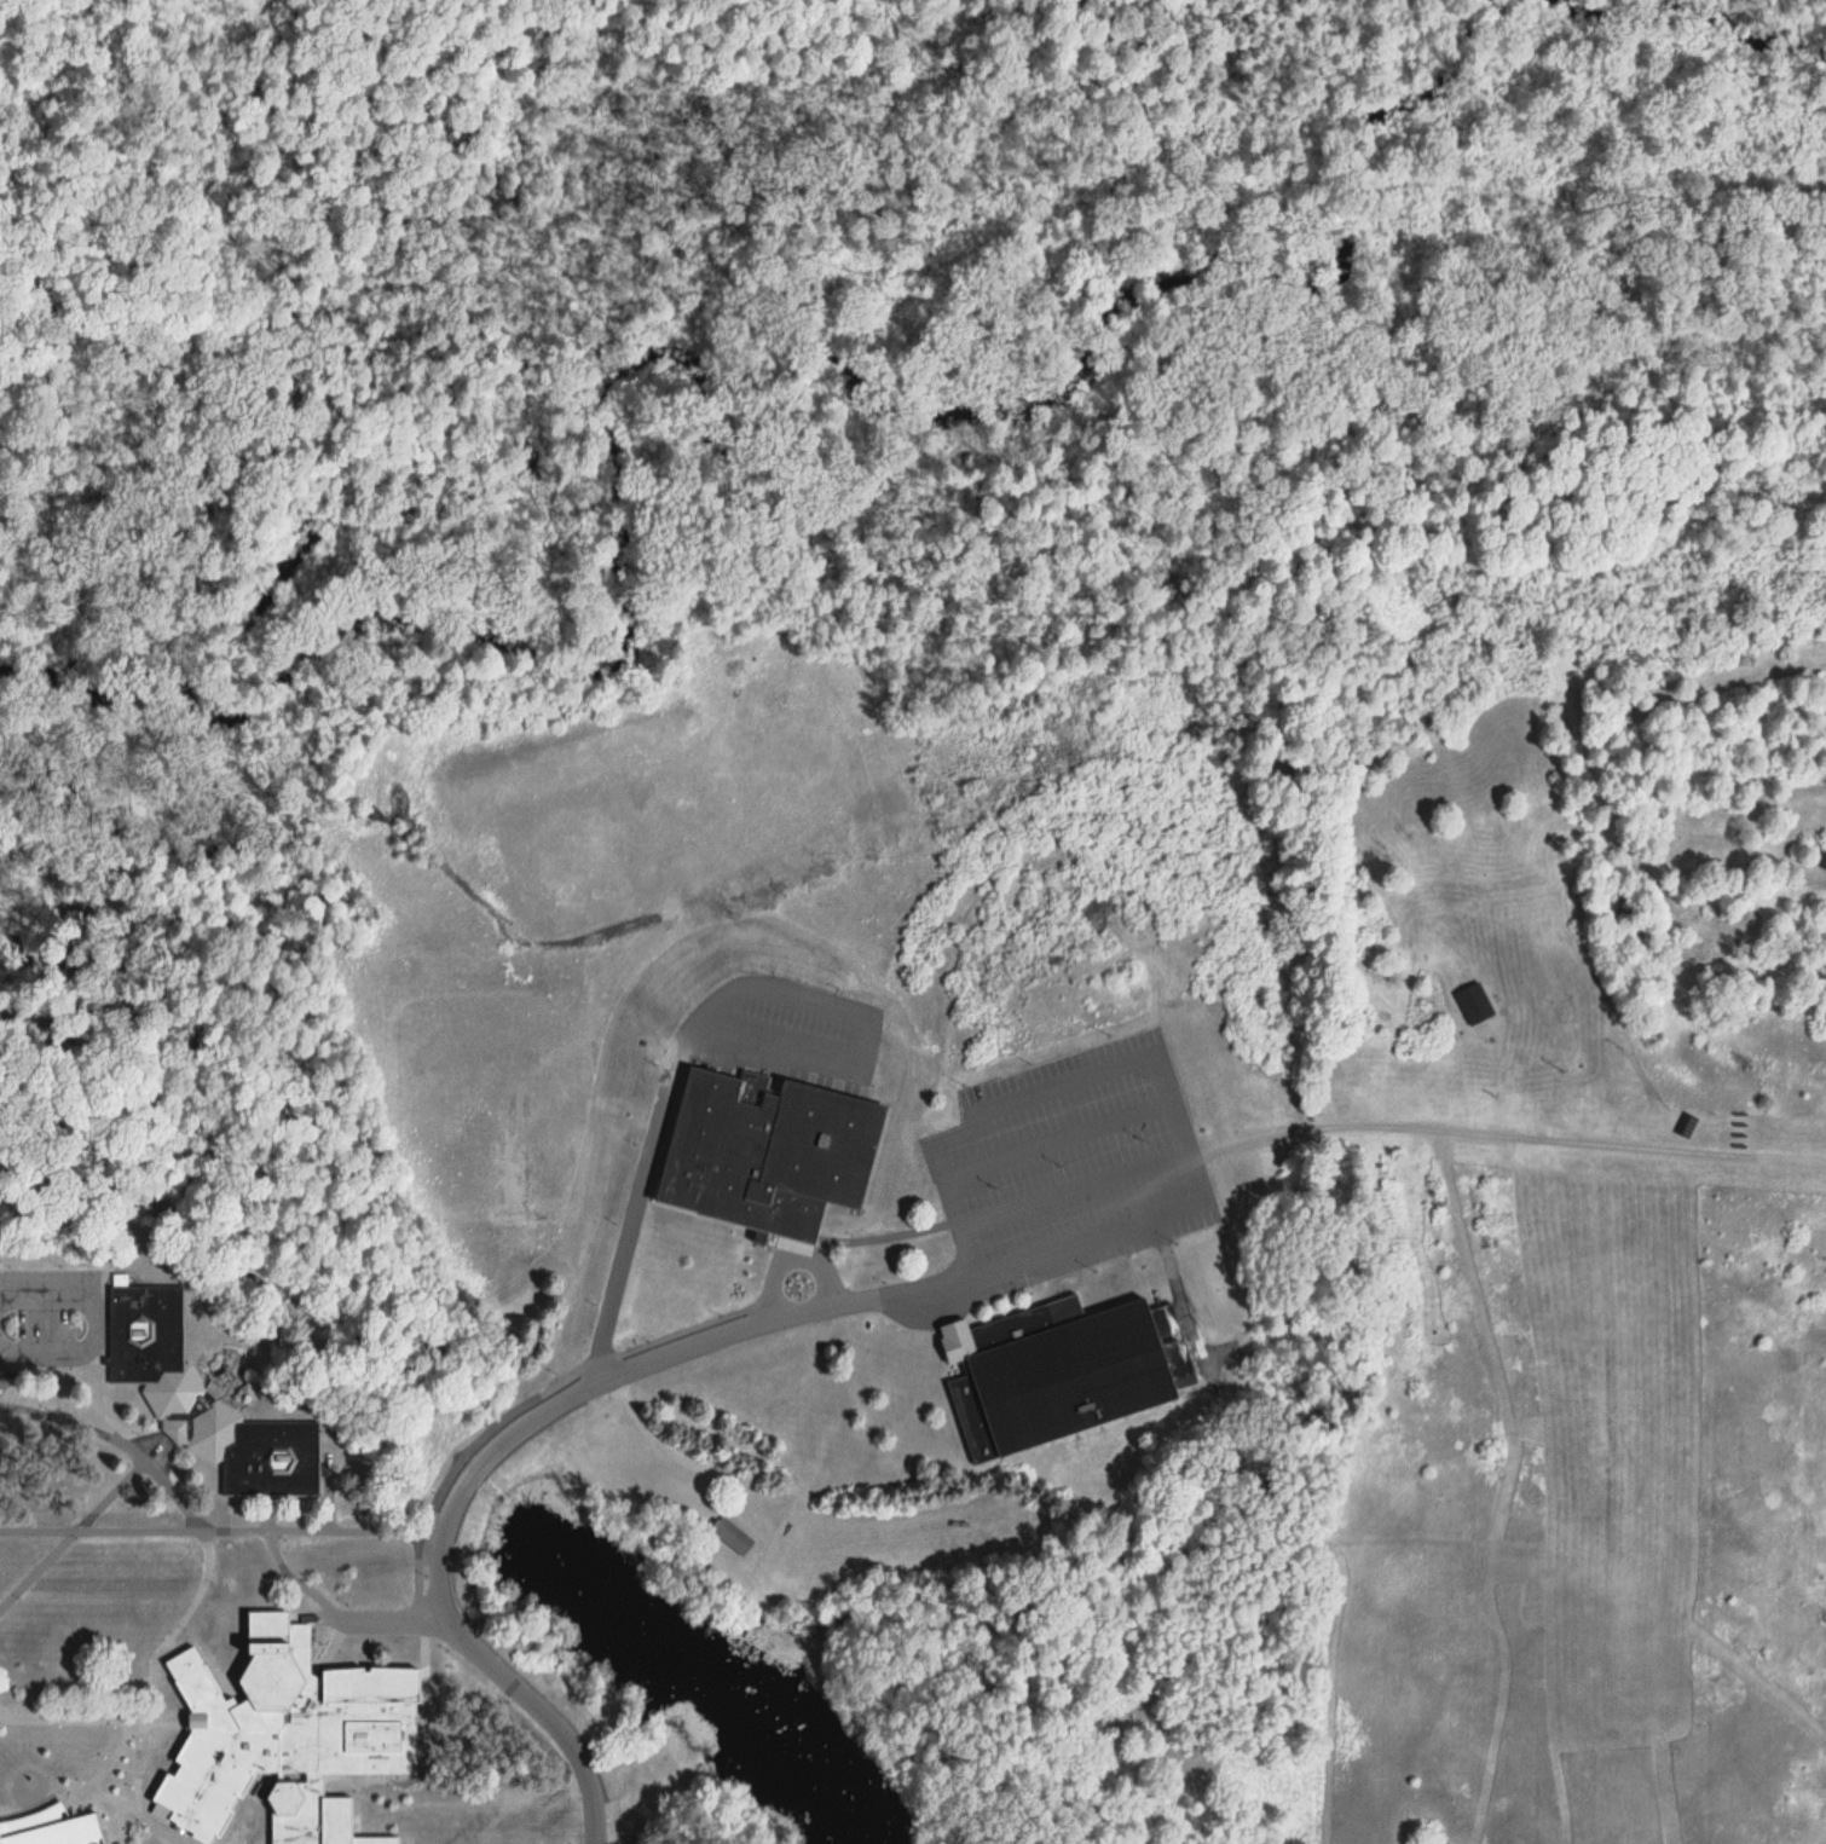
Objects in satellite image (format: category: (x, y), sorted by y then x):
building: (1473, 1005)
road: (860, 1035)
road: (1506, 1138)
building: (765, 1154)
parking lot: (1071, 1170)
road: (1156, 1215)
building: (1059, 1375)
building: (202, 1403)
road: (497, 1446)
building: (730, 1537)
building: (282, 1733)
building: (341, 1823)
building: (60, 1834)

